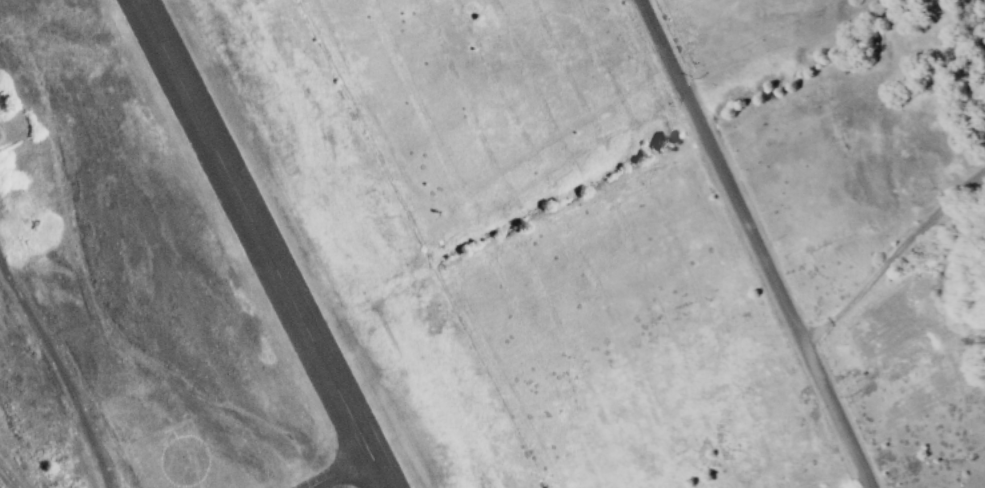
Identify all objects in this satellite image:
road: (753, 243)
airport runway: (267, 244)
road: (890, 253)
road: (13, 473)

